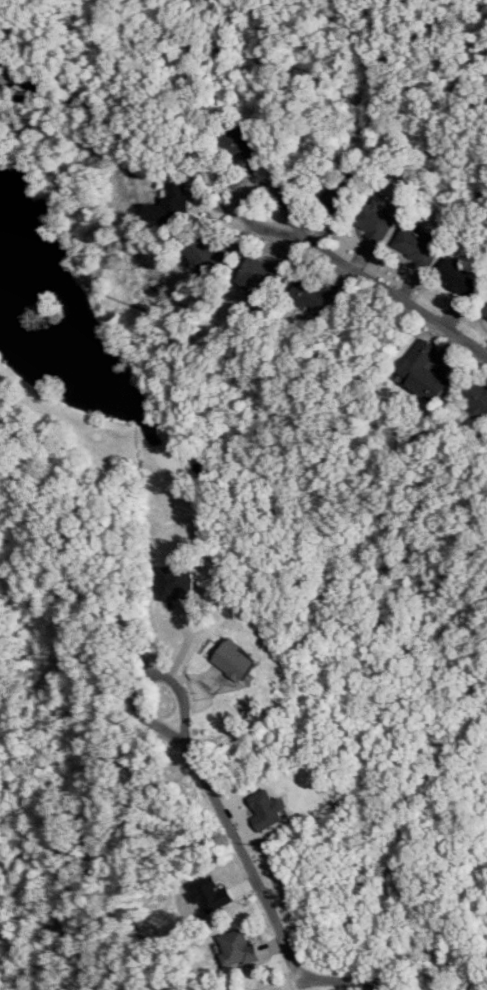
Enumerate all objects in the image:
building: (2, 58)
building: (1, 87)
building: (240, 141)
building: (169, 205)
building: (375, 221)
building: (417, 247)
building: (204, 255)
building: (259, 274)
building: (457, 278)
road: (374, 281)
building: (314, 294)
building: (484, 312)
building: (422, 372)
building: (476, 400)
road: (284, 516)
road: (71, 573)
building: (173, 582)
building: (233, 660)
road: (207, 780)
building: (265, 809)
building: (209, 893)
building: (236, 949)
road: (327, 977)

